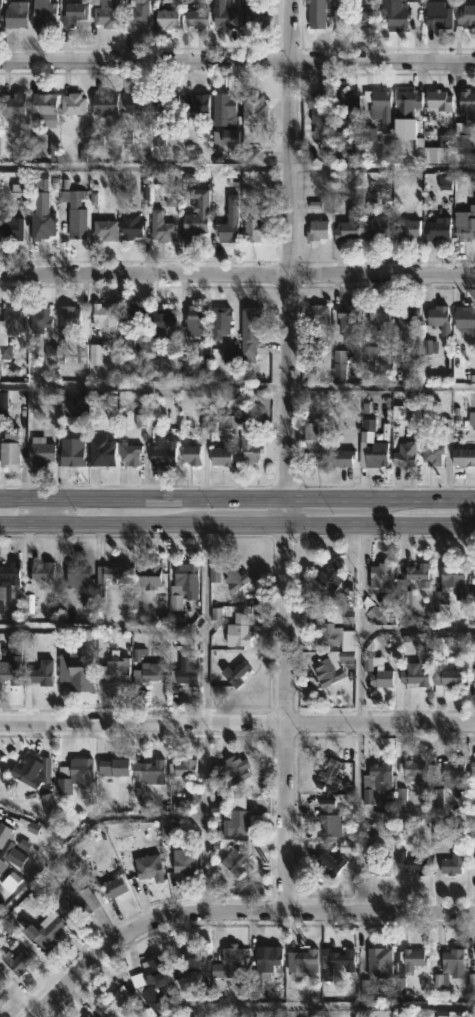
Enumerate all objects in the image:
building: (249, 11)
building: (41, 12)
building: (72, 14)
building: (104, 14)
building: (13, 15)
building: (133, 15)
building: (314, 15)
building: (437, 16)
building: (465, 16)
building: (194, 18)
building: (222, 18)
building: (394, 18)
building: (165, 19)
building: (351, 19)
road: (237, 59)
building: (437, 101)
building: (344, 102)
building: (315, 103)
building: (376, 103)
building: (102, 104)
building: (134, 104)
building: (168, 104)
building: (193, 104)
building: (70, 105)
building: (12, 106)
building: (42, 106)
building: (466, 107)
building: (251, 108)
building: (223, 117)
building: (406, 120)
building: (458, 140)
road: (237, 167)
building: (165, 195)
building: (73, 215)
building: (194, 216)
building: (251, 224)
building: (40, 225)
building: (464, 225)
building: (129, 226)
building: (346, 226)
building: (9, 228)
building: (159, 228)
building: (103, 230)
building: (375, 230)
building: (436, 230)
building: (224, 231)
building: (315, 231)
building: (405, 231)
road: (237, 274)
building: (315, 315)
building: (102, 317)
building: (373, 317)
building: (12, 319)
building: (66, 320)
building: (438, 320)
building: (37, 321)
building: (194, 321)
building: (406, 321)
building: (464, 321)
building: (218, 322)
building: (161, 324)
building: (345, 324)
building: (128, 326)
building: (248, 333)
road: (143, 385)
road: (380, 386)
building: (313, 446)
building: (249, 448)
building: (372, 450)
building: (37, 452)
building: (101, 452)
building: (160, 452)
building: (128, 453)
building: (8, 454)
building: (68, 454)
road: (286, 454)
building: (403, 456)
building: (430, 456)
building: (193, 457)
building: (220, 457)
building: (340, 458)
building: (463, 458)
road: (237, 497)
road: (44, 510)
road: (237, 523)
building: (415, 571)
building: (44, 572)
building: (116, 574)
building: (147, 574)
building: (75, 576)
building: (328, 576)
building: (379, 576)
building: (472, 576)
building: (232, 577)
building: (185, 578)
building: (7, 581)
building: (452, 581)
building: (375, 615)
building: (324, 626)
road: (417, 628)
building: (236, 630)
building: (329, 666)
building: (75, 669)
building: (183, 669)
building: (113, 670)
building: (151, 671)
building: (414, 671)
building: (9, 672)
building: (234, 672)
building: (472, 676)
building: (380, 677)
building: (43, 678)
building: (444, 678)
road: (358, 717)
road: (237, 724)
building: (112, 767)
building: (180, 767)
building: (472, 769)
building: (230, 770)
building: (148, 771)
building: (410, 771)
building: (25, 772)
building: (74, 773)
building: (328, 773)
building: (448, 782)
building: (376, 783)
road: (127, 817)
road: (417, 817)
building: (235, 820)
building: (327, 820)
building: (5, 834)
building: (439, 838)
building: (182, 861)
building: (233, 861)
building: (328, 863)
building: (409, 863)
building: (3, 864)
building: (451, 864)
building: (147, 867)
building: (378, 867)
building: (112, 887)
building: (77, 900)
road: (235, 910)
building: (49, 929)
building: (232, 958)
building: (190, 959)
building: (341, 959)
building: (19, 962)
building: (378, 962)
building: (451, 962)
building: (301, 963)
building: (409, 965)
building: (263, 967)
building: (149, 973)
building: (2, 981)
building: (0, 997)
building: (111, 999)
building: (160, 1002)
road: (317, 1006)
building: (85, 1016)
building: (87, 1016)

